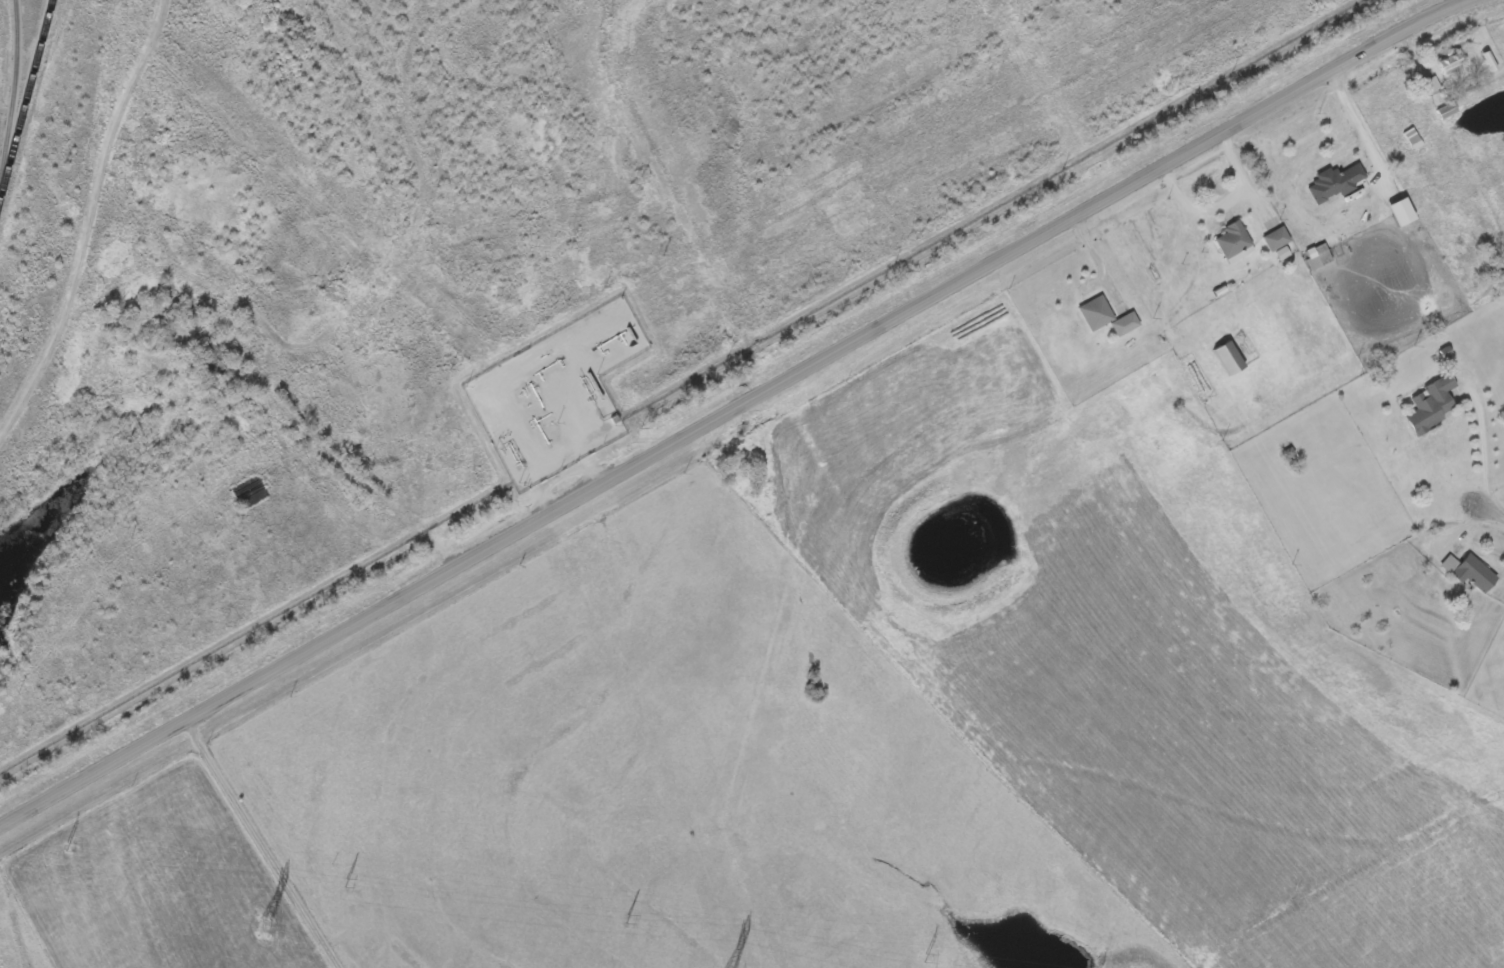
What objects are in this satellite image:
building: (1453, 69)
building: (1429, 87)
railway: (19, 100)
railway: (26, 107)
building: (1447, 112)
building: (1336, 184)
building: (1403, 214)
building: (1277, 240)
building: (1234, 241)
building: (1319, 257)
power plant: (457, 260)
building: (1097, 315)
building: (1126, 326)
building: (1230, 360)
building: (1433, 407)
road: (731, 415)
road: (1488, 517)
building: (1471, 573)
power tower: (77, 848)
power tower: (346, 886)
power tower: (630, 921)
power tower: (257, 927)
power tower: (921, 958)

